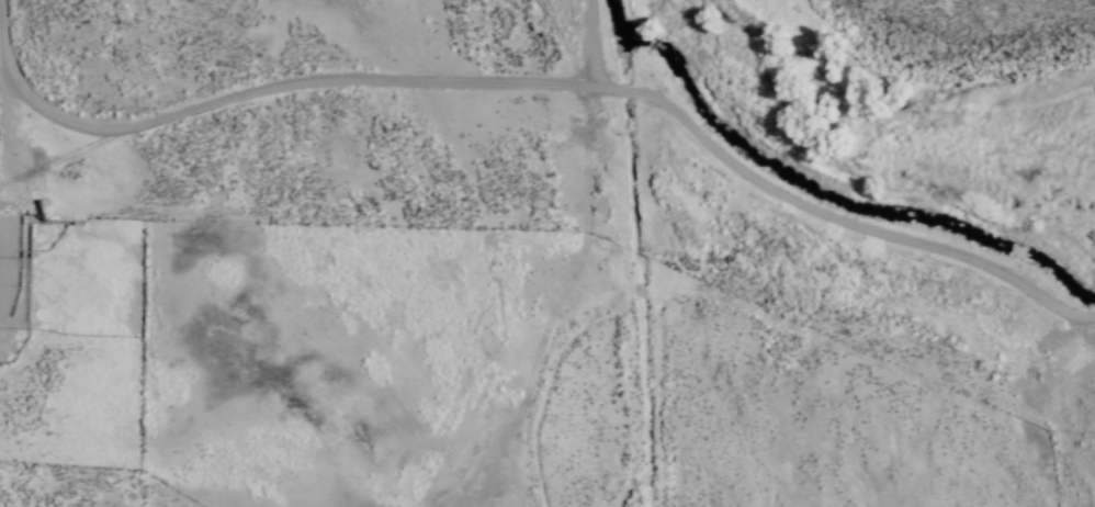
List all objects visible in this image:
road: (575, 42)
road: (527, 81)

